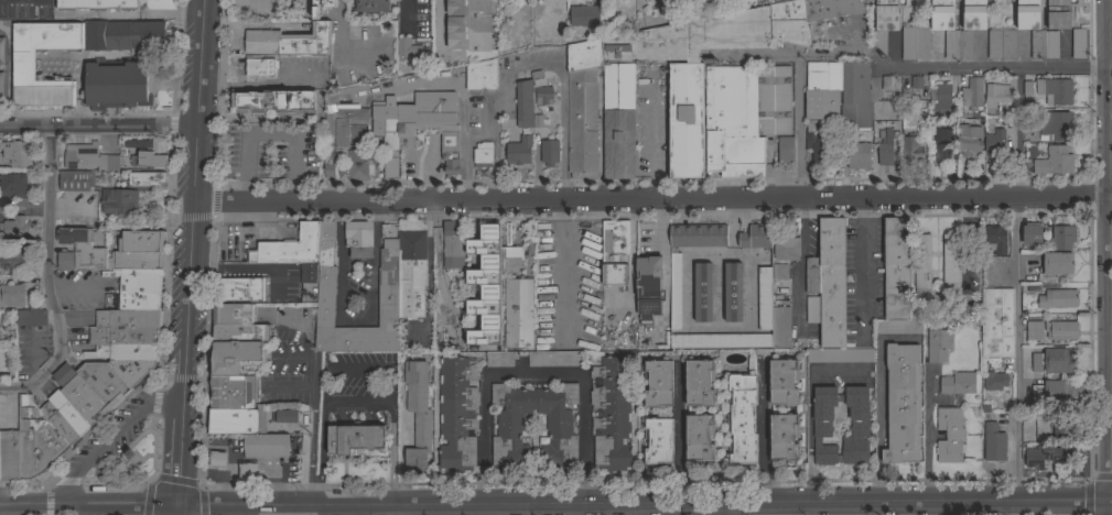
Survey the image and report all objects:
building: (97, 4)
building: (371, 6)
building: (321, 7)
road: (399, 14)
building: (1058, 14)
building: (582, 15)
building: (808, 17)
building: (884, 22)
building: (941, 22)
building: (468, 25)
road: (440, 29)
building: (1036, 31)
building: (288, 42)
road: (341, 42)
building: (915, 44)
building: (1078, 44)
building: (1001, 45)
building: (406, 50)
road: (536, 59)
road: (199, 63)
building: (23, 64)
building: (257, 65)
road: (905, 68)
building: (481, 77)
building: (669, 84)
building: (118, 85)
building: (914, 86)
road: (462, 90)
building: (822, 90)
building: (1056, 91)
building: (972, 92)
building: (996, 95)
building: (542, 96)
building: (854, 96)
building: (941, 98)
building: (523, 103)
building: (274, 105)
building: (581, 109)
building: (744, 117)
road: (799, 125)
building: (1056, 125)
road: (98, 127)
building: (392, 130)
road: (1016, 131)
building: (338, 132)
road: (267, 136)
building: (969, 140)
building: (943, 144)
building: (995, 144)
building: (885, 150)
building: (910, 150)
building: (518, 151)
building: (785, 151)
building: (820, 151)
building: (549, 152)
building: (15, 153)
building: (153, 155)
building: (482, 155)
building: (856, 155)
building: (89, 158)
building: (1054, 161)
road: (195, 164)
building: (360, 165)
building: (145, 178)
building: (74, 180)
building: (12, 186)
road: (652, 198)
building: (119, 201)
building: (14, 228)
building: (755, 237)
building: (1032, 237)
building: (1060, 239)
building: (358, 240)
building: (996, 240)
building: (453, 244)
building: (290, 248)
road: (1105, 248)
building: (786, 249)
building: (78, 250)
building: (139, 251)
building: (614, 252)
building: (510, 260)
building: (12, 261)
road: (799, 262)
building: (1057, 263)
building: (950, 264)
road: (862, 266)
building: (921, 266)
building: (896, 269)
building: (307, 272)
building: (779, 272)
building: (411, 274)
building: (812, 275)
road: (48, 280)
building: (832, 282)
building: (648, 286)
building: (485, 287)
building: (137, 288)
building: (238, 291)
building: (674, 292)
building: (388, 293)
building: (702, 293)
building: (733, 293)
building: (12, 296)
building: (764, 298)
building: (1058, 298)
road: (188, 302)
building: (812, 308)
building: (231, 314)
building: (518, 314)
building: (30, 317)
building: (127, 319)
road: (357, 320)
building: (996, 324)
building: (898, 327)
building: (780, 328)
building: (1034, 331)
building: (1060, 331)
building: (240, 333)
building: (123, 336)
building: (721, 341)
building: (938, 346)
road: (1016, 347)
building: (126, 351)
building: (88, 354)
building: (839, 355)
building: (235, 357)
building: (499, 359)
building: (554, 359)
building: (1054, 361)
building: (131, 369)
road: (531, 376)
building: (995, 381)
building: (102, 382)
building: (782, 382)
building: (699, 383)
building: (658, 384)
building: (957, 384)
building: (233, 392)
building: (1054, 393)
building: (79, 395)
building: (57, 399)
road: (878, 399)
building: (902, 403)
building: (47, 409)
building: (29, 414)
building: (456, 414)
building: (611, 414)
building: (417, 415)
building: (284, 416)
building: (1027, 416)
building: (74, 418)
building: (742, 420)
building: (235, 421)
building: (509, 424)
building: (821, 424)
building: (64, 427)
building: (1059, 427)
road: (678, 431)
road: (760, 435)
building: (949, 436)
building: (782, 437)
building: (699, 438)
building: (355, 439)
road: (582, 440)
road: (105, 441)
road: (479, 441)
building: (658, 441)
building: (994, 443)
gas station: (266, 446)
building: (263, 447)
building: (39, 449)
building: (9, 454)
road: (181, 454)
building: (1049, 456)
building: (217, 459)
building: (249, 471)
road: (104, 492)
road: (645, 504)
road: (1106, 506)
road: (18, 507)
road: (107, 507)
road: (440, 509)
road: (471, 509)
road: (533, 509)
road: (570, 509)
road: (778, 509)
road: (176, 511)
road: (343, 511)

